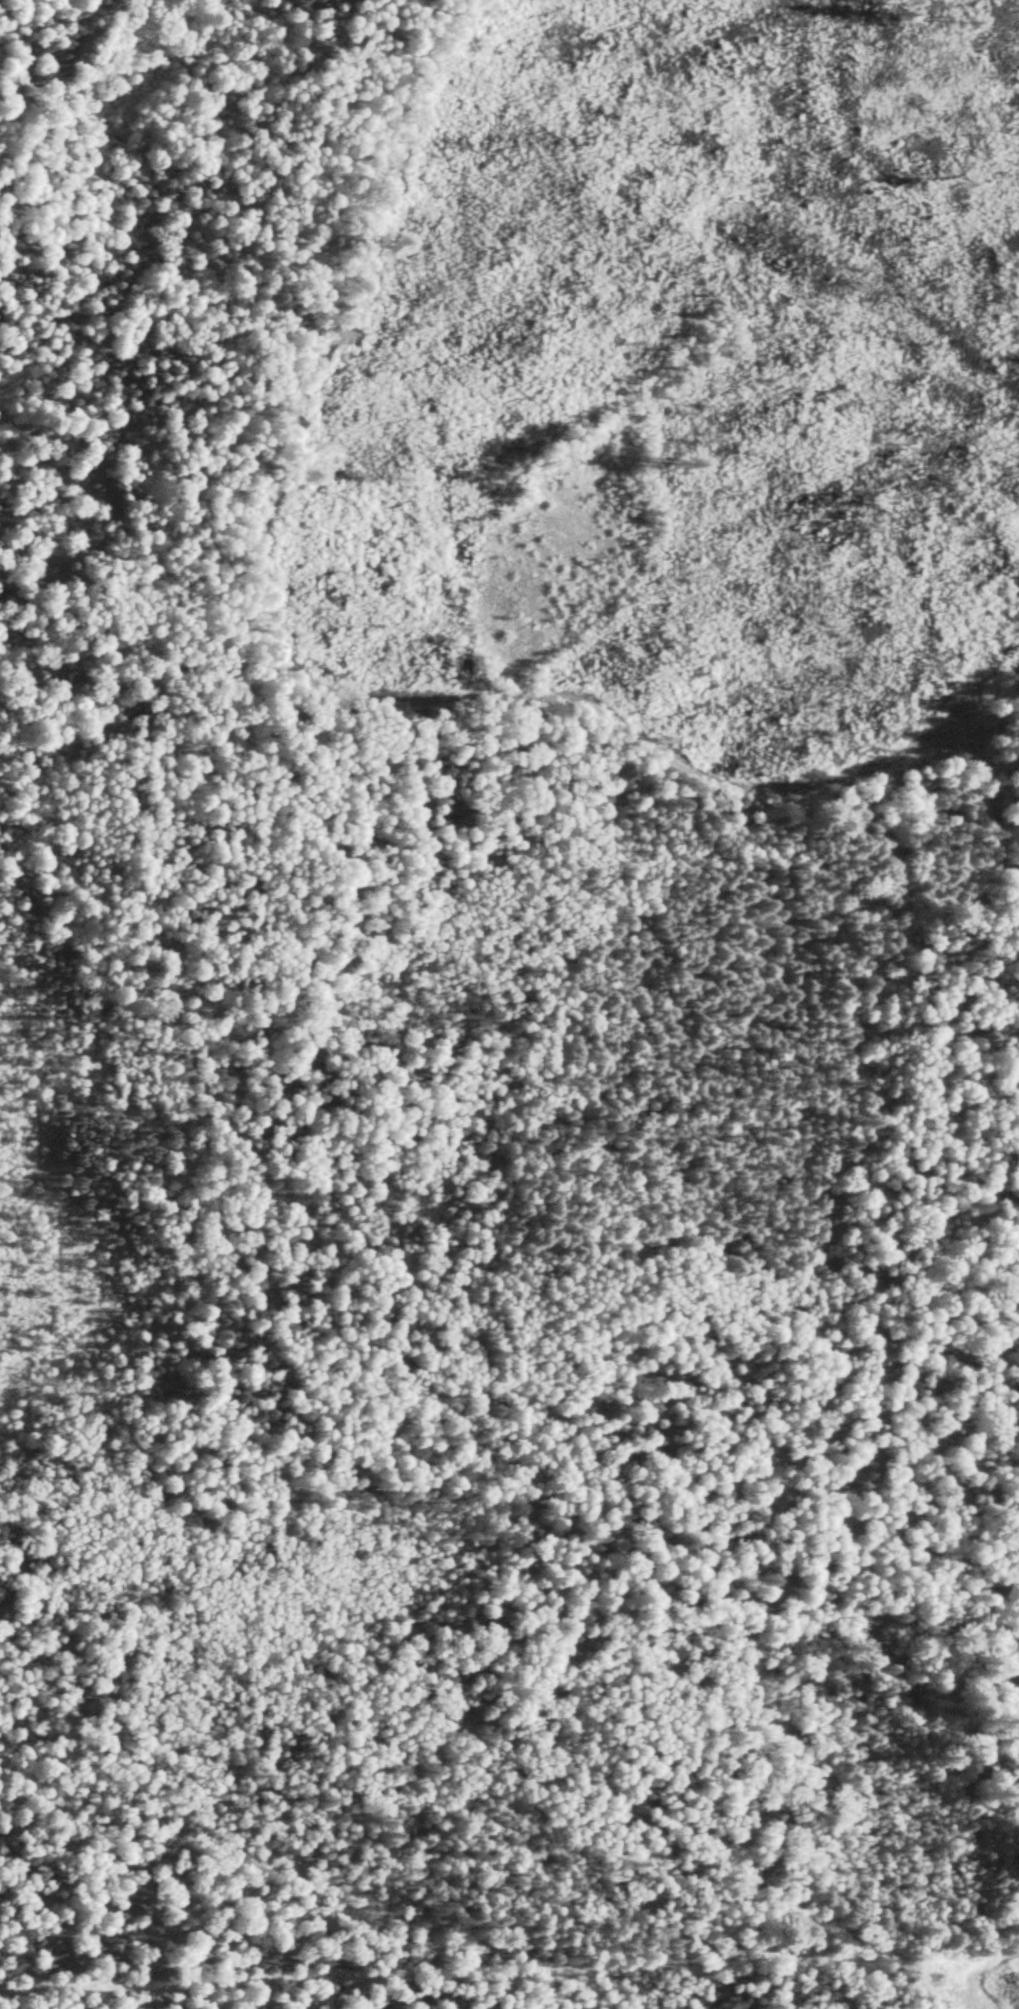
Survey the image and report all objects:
quarry: (978, 1961)

